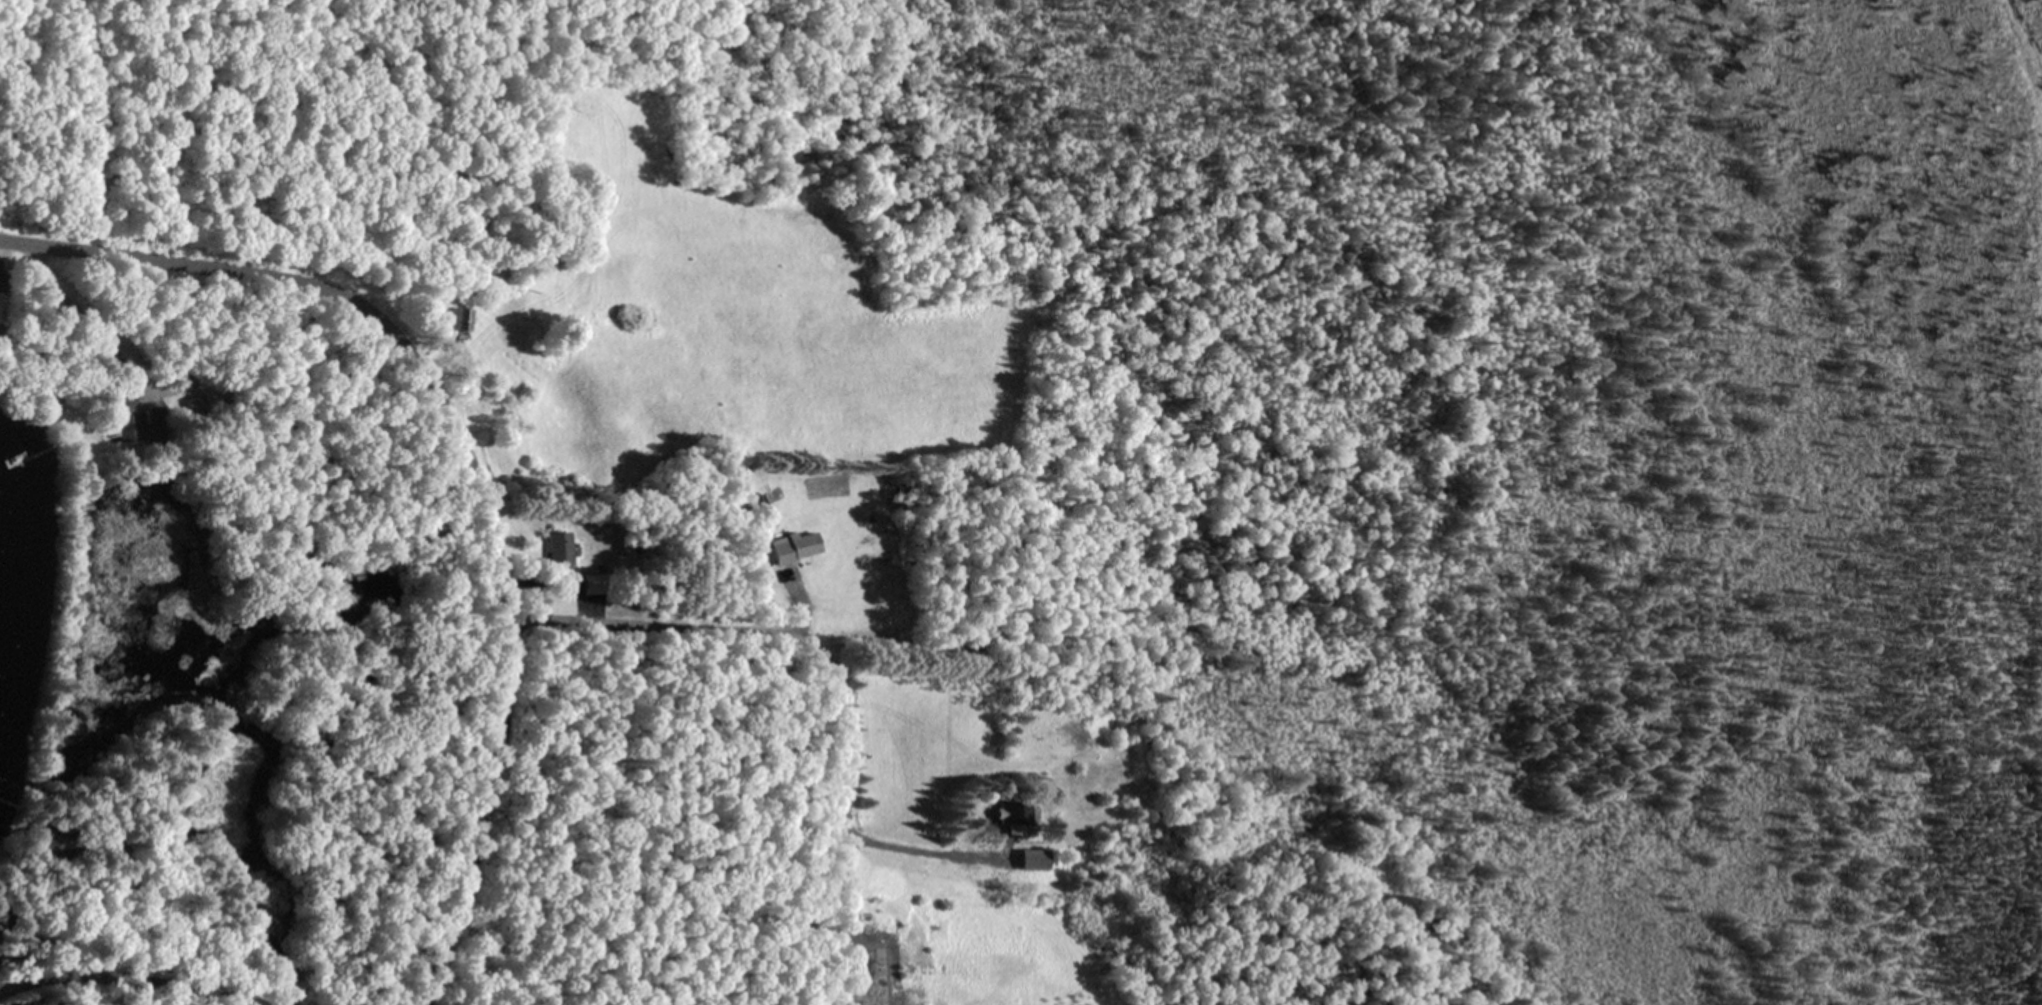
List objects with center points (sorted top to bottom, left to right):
park: (211, 127)
building: (534, 277)
building: (457, 321)
building: (194, 407)
building: (122, 411)
road: (470, 461)
building: (799, 546)
building: (558, 560)
road: (786, 633)
building: (1009, 816)
building: (52, 835)
building: (1032, 858)
road: (137, 980)

